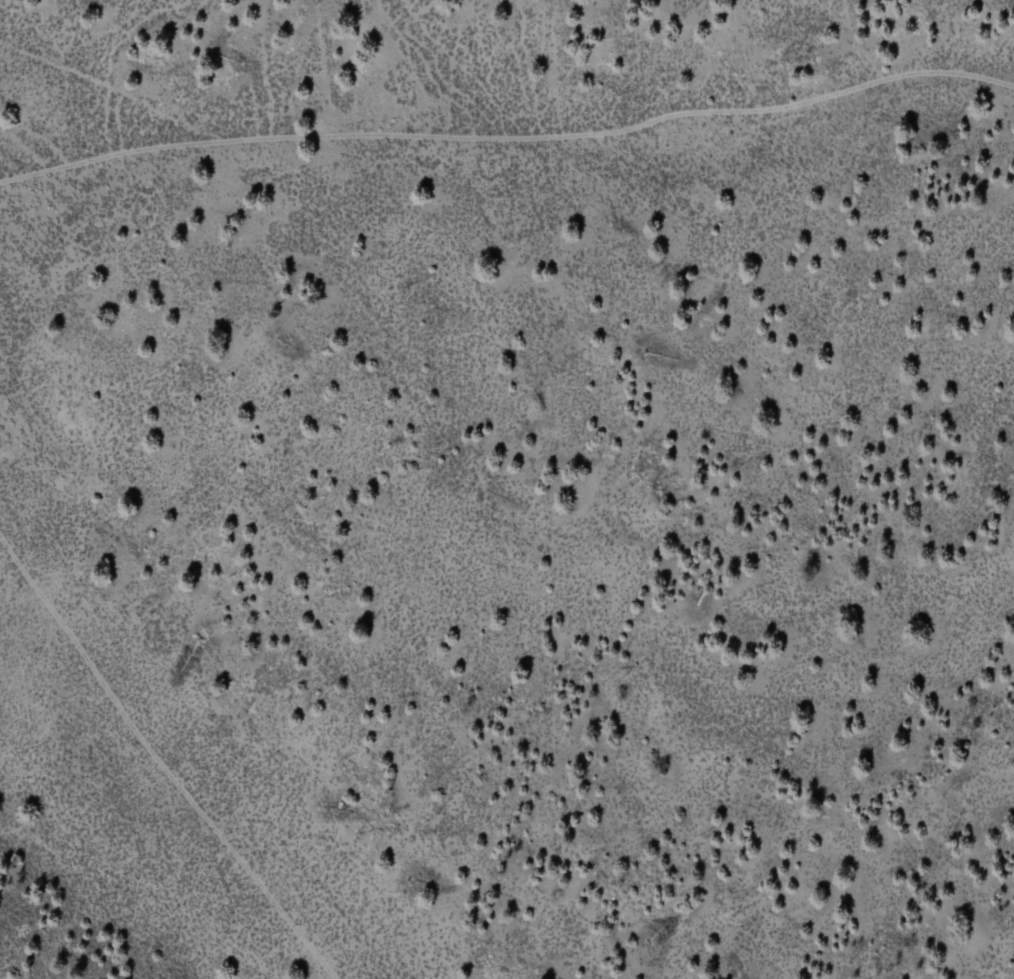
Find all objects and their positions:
road: (509, 143)
road: (157, 762)

